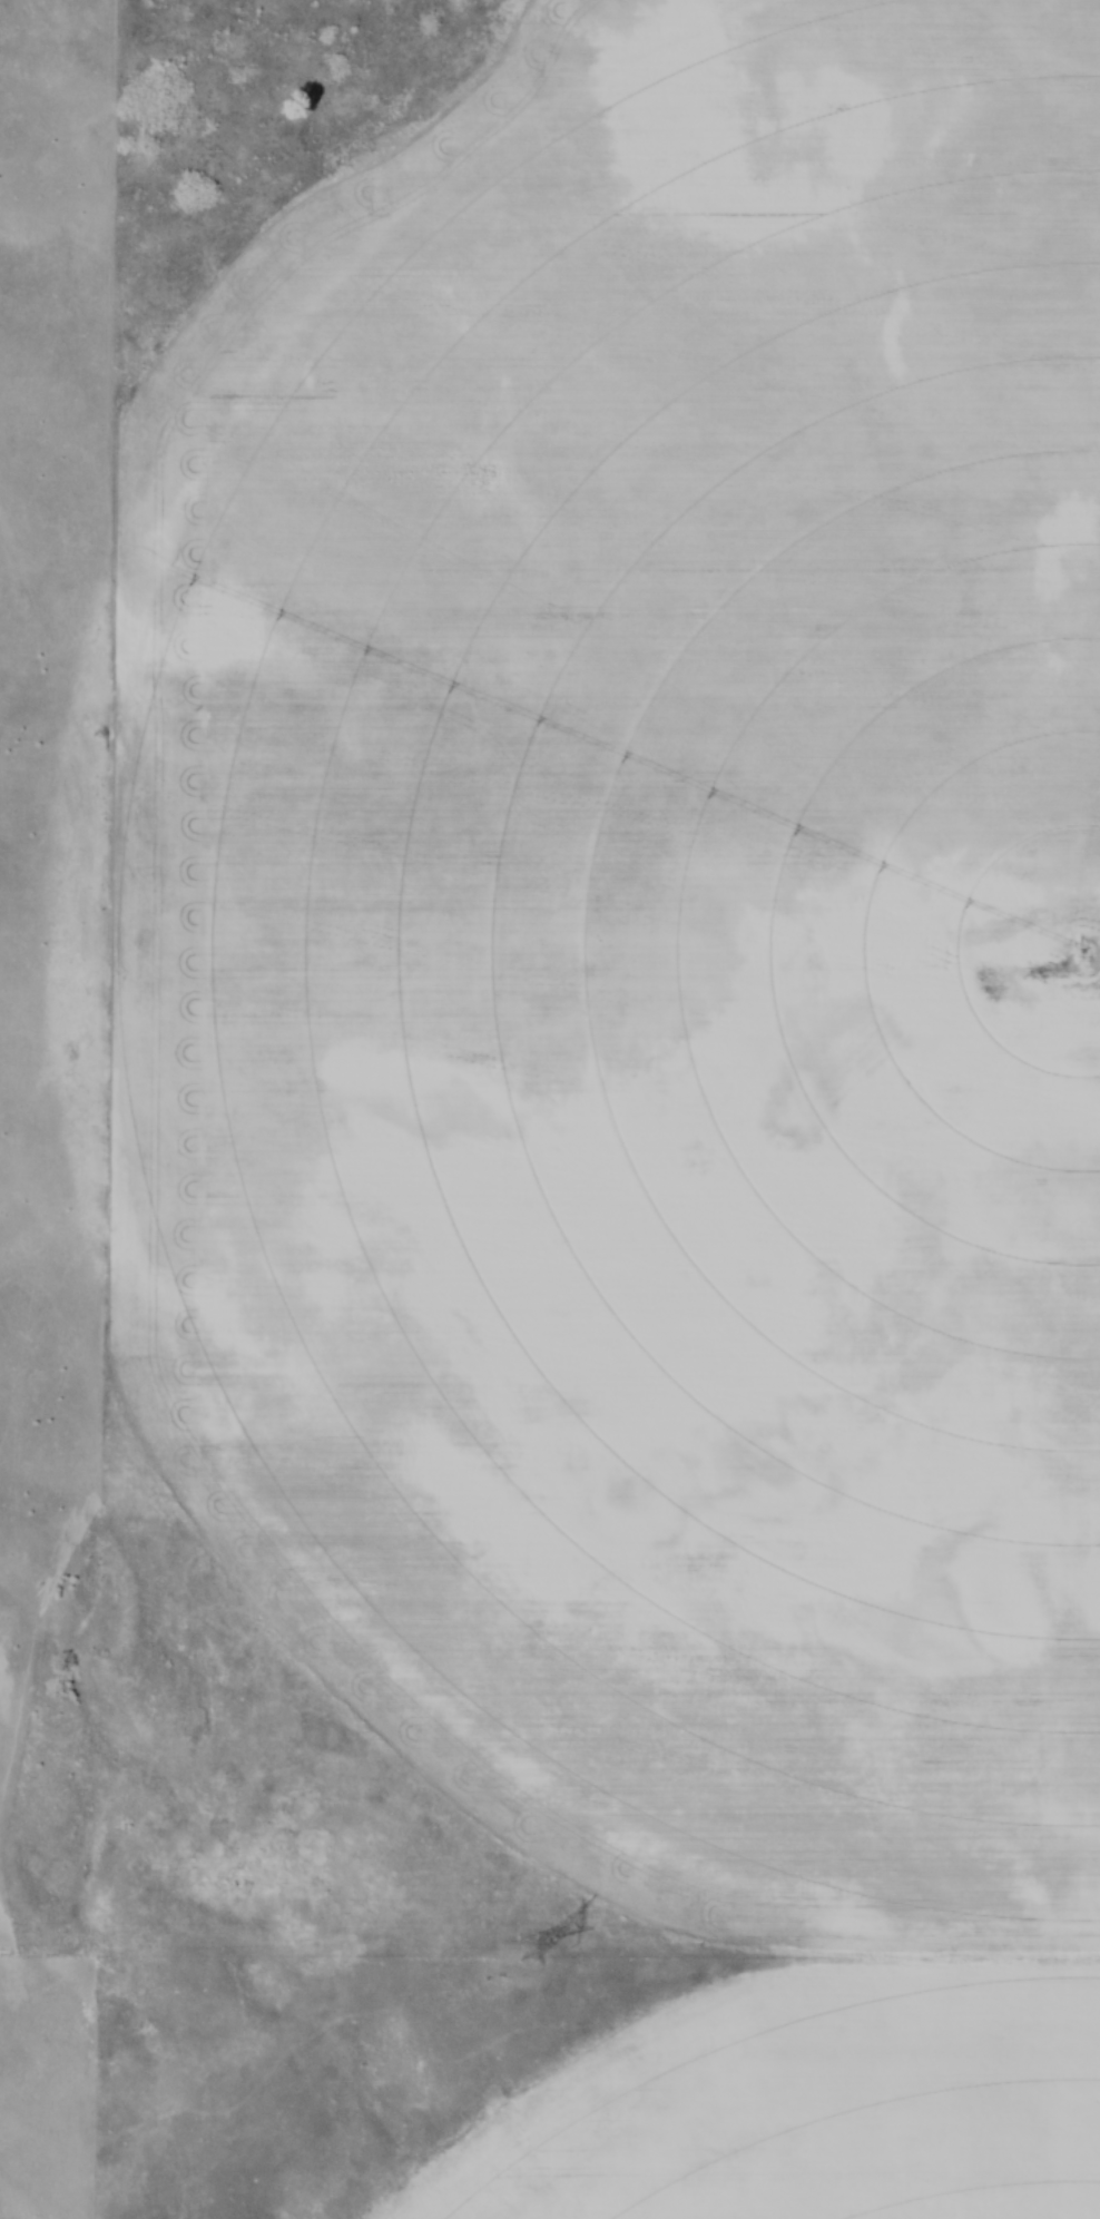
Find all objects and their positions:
power tower: (526, 1950)

